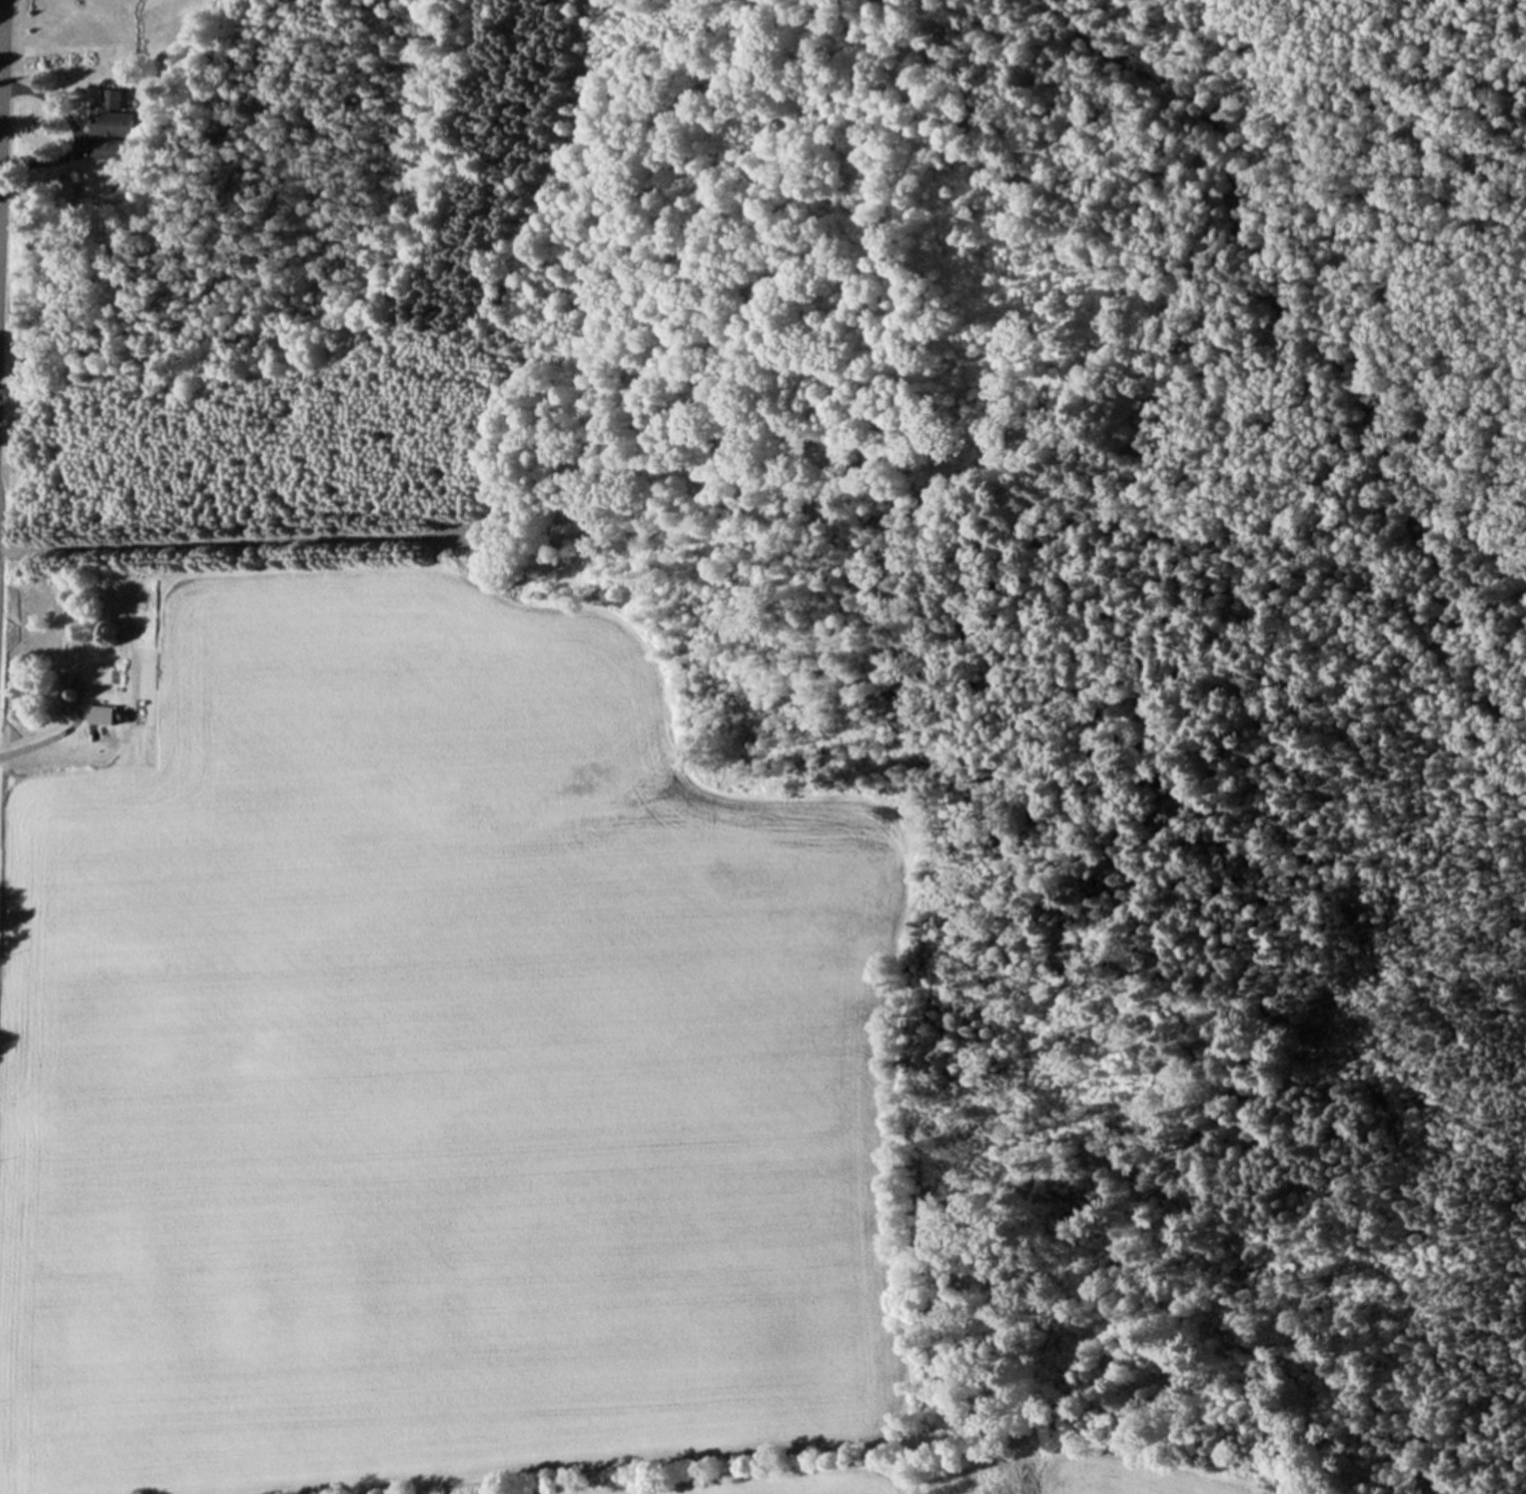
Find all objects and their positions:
road: (2, 83)
road: (1, 110)
building: (114, 128)
road: (229, 543)
building: (65, 698)
road: (33, 744)

